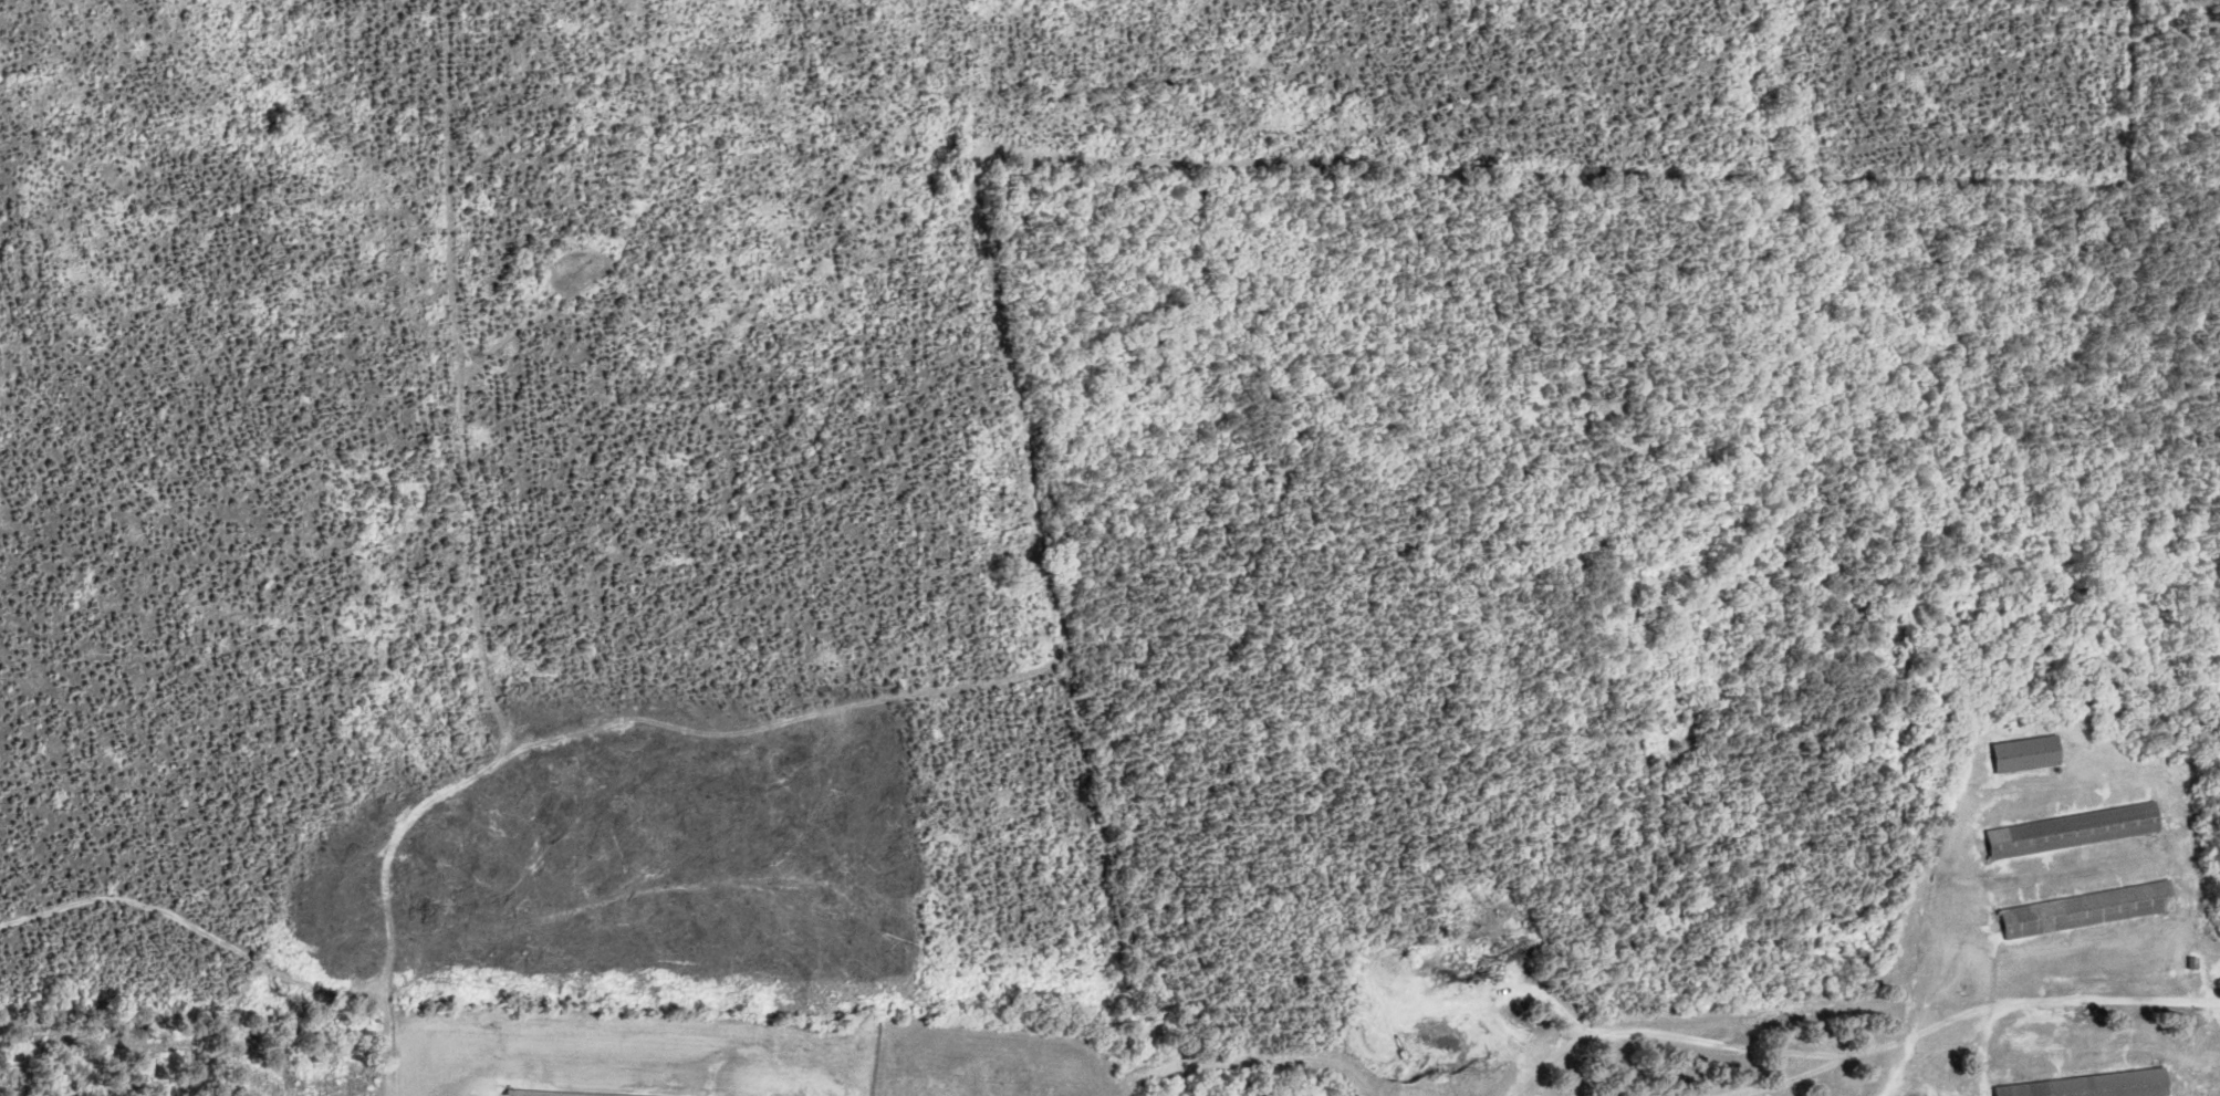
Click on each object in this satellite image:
building: (2066, 828)
building: (2082, 908)
building: (2083, 1085)
building: (541, 1092)

